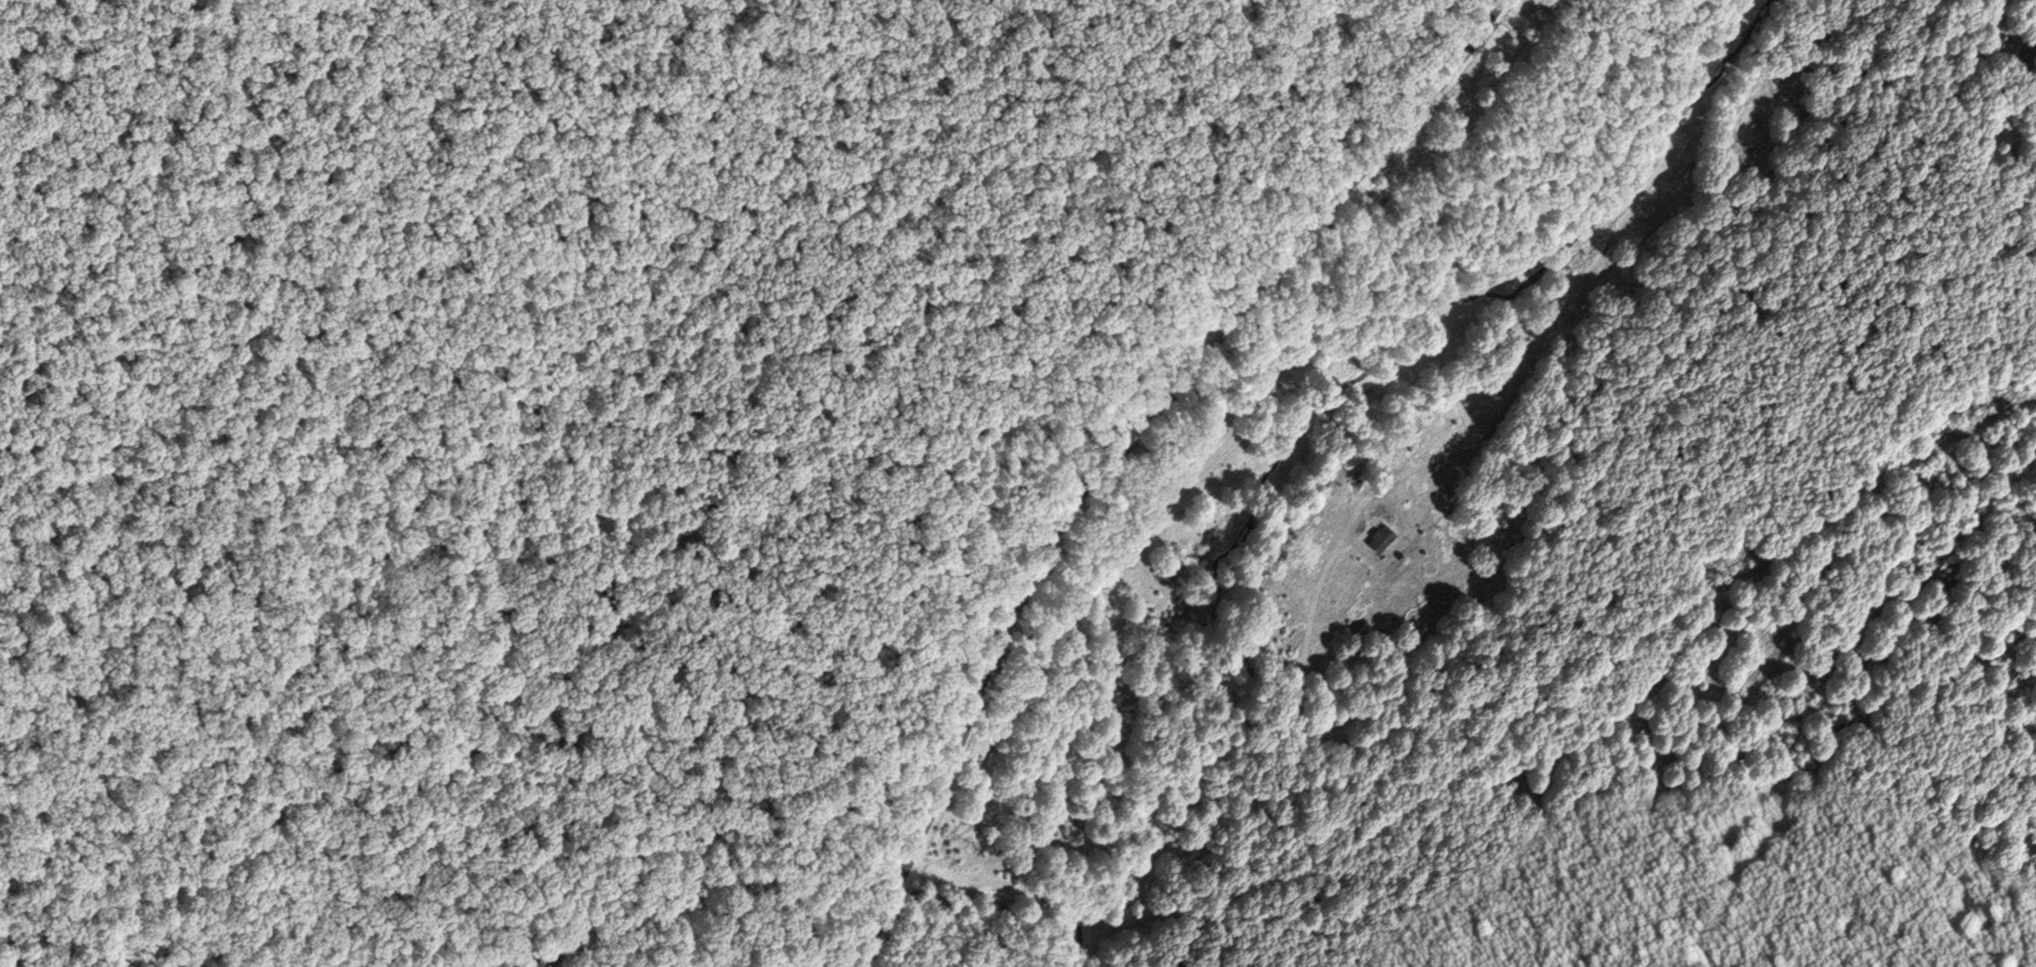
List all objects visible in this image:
road: (1117, 445)
building: (1383, 536)
road: (1461, 744)

